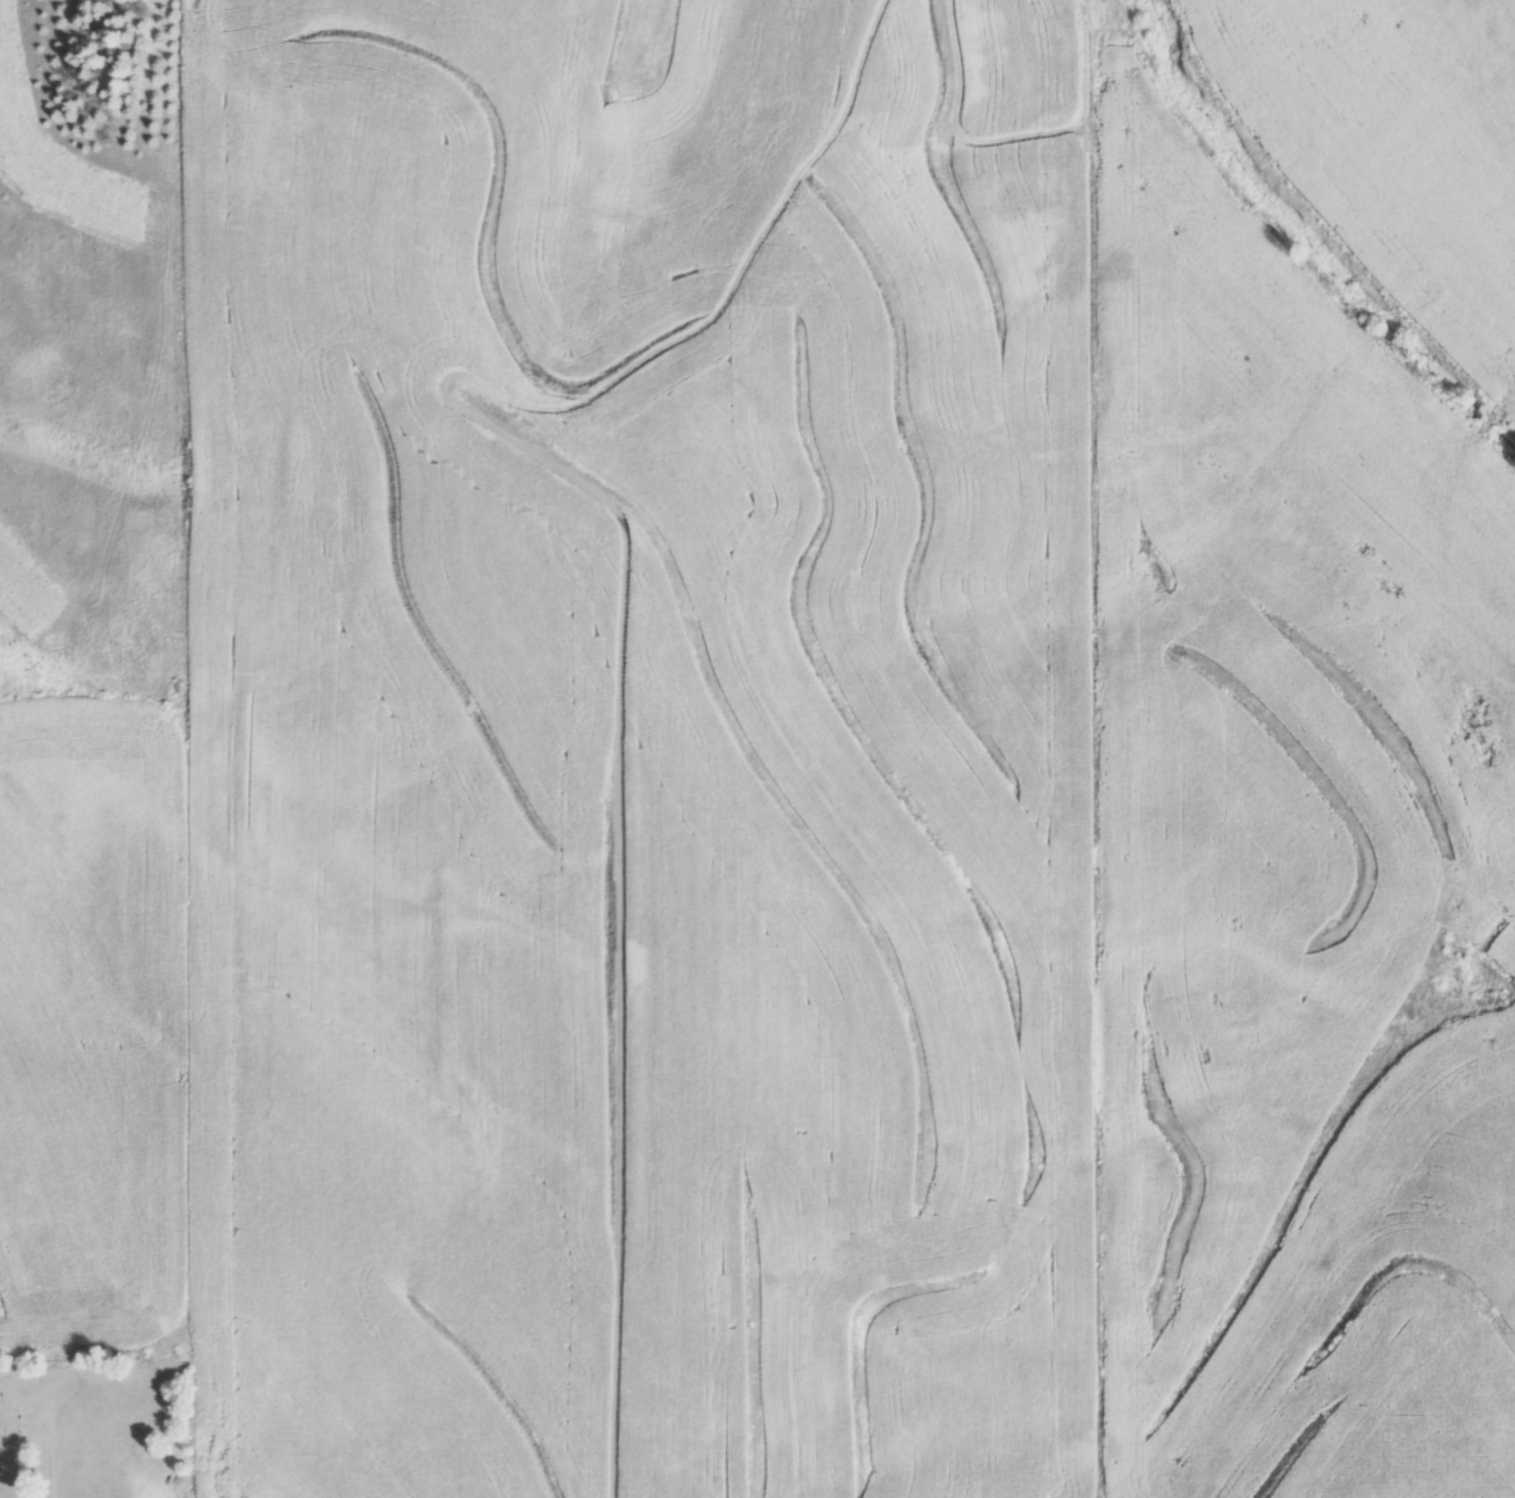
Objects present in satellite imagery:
road: (47, 1448)

